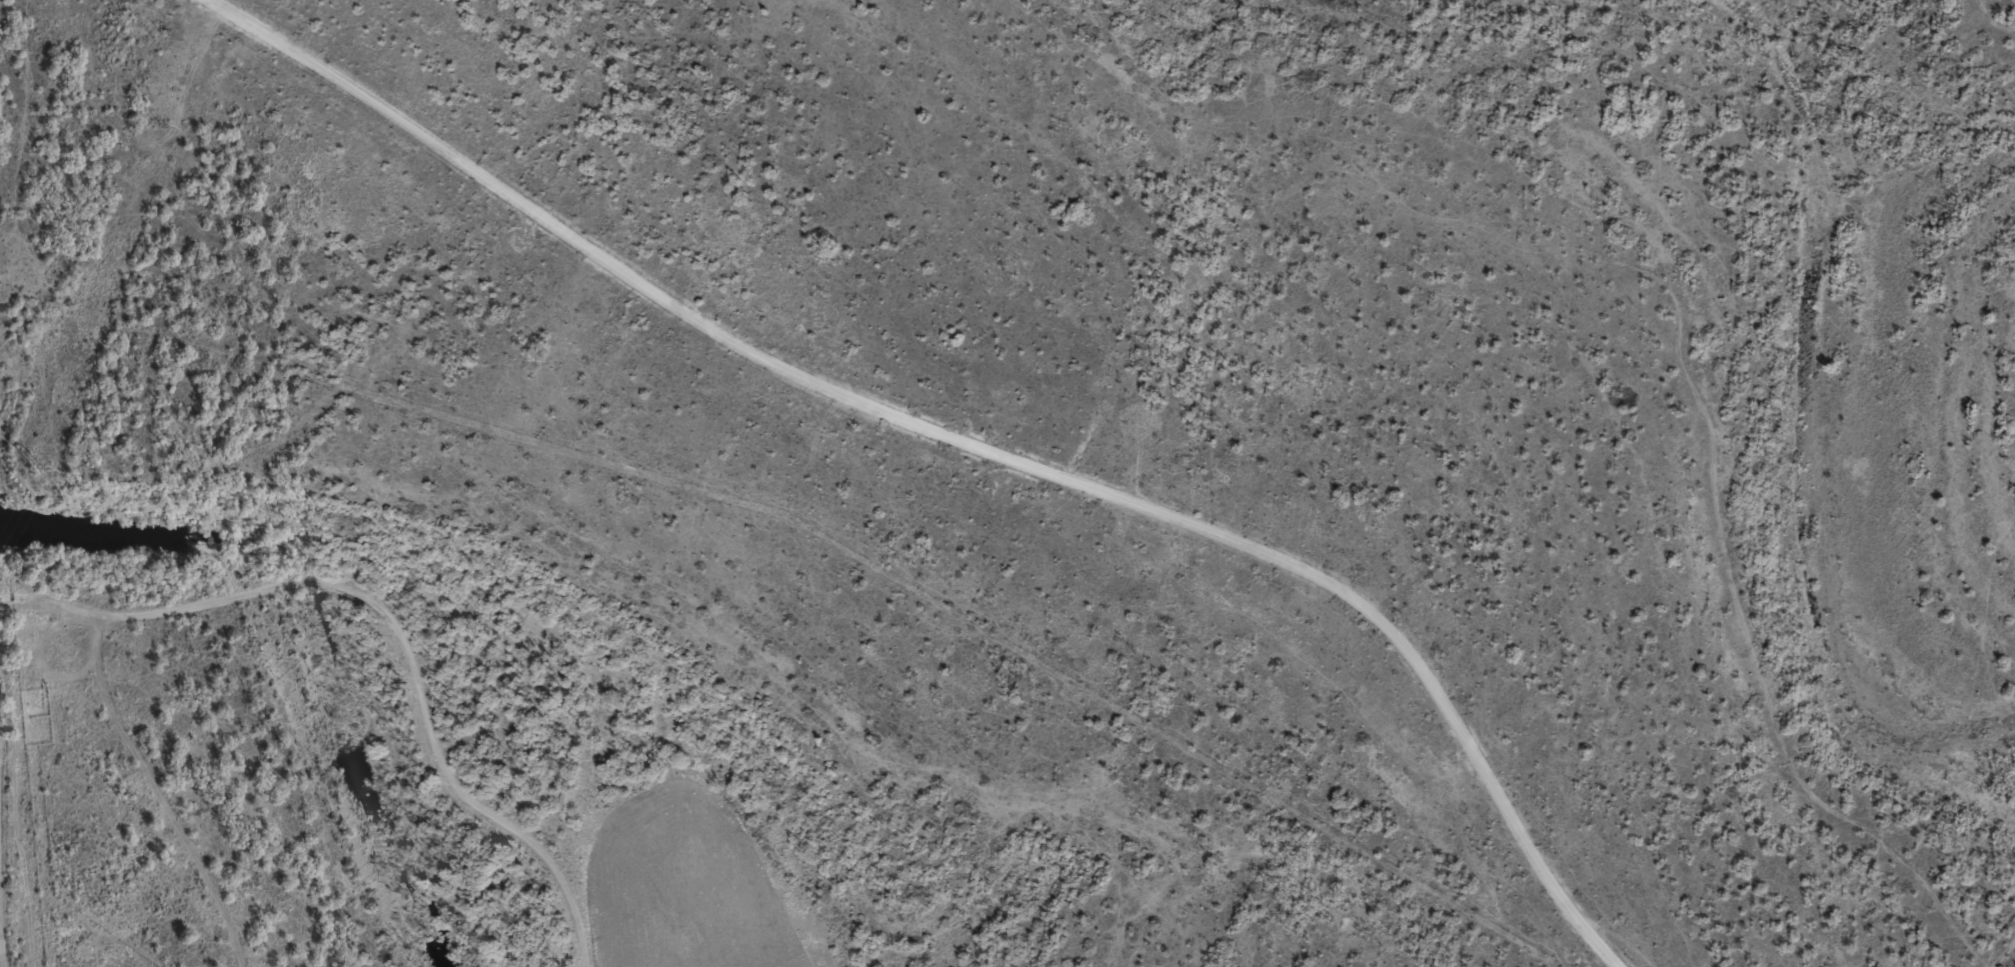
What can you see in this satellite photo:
power tower: (159, 125)
road: (947, 449)
power tower: (39, 468)
road: (412, 710)
road: (113, 712)
road: (216, 895)

